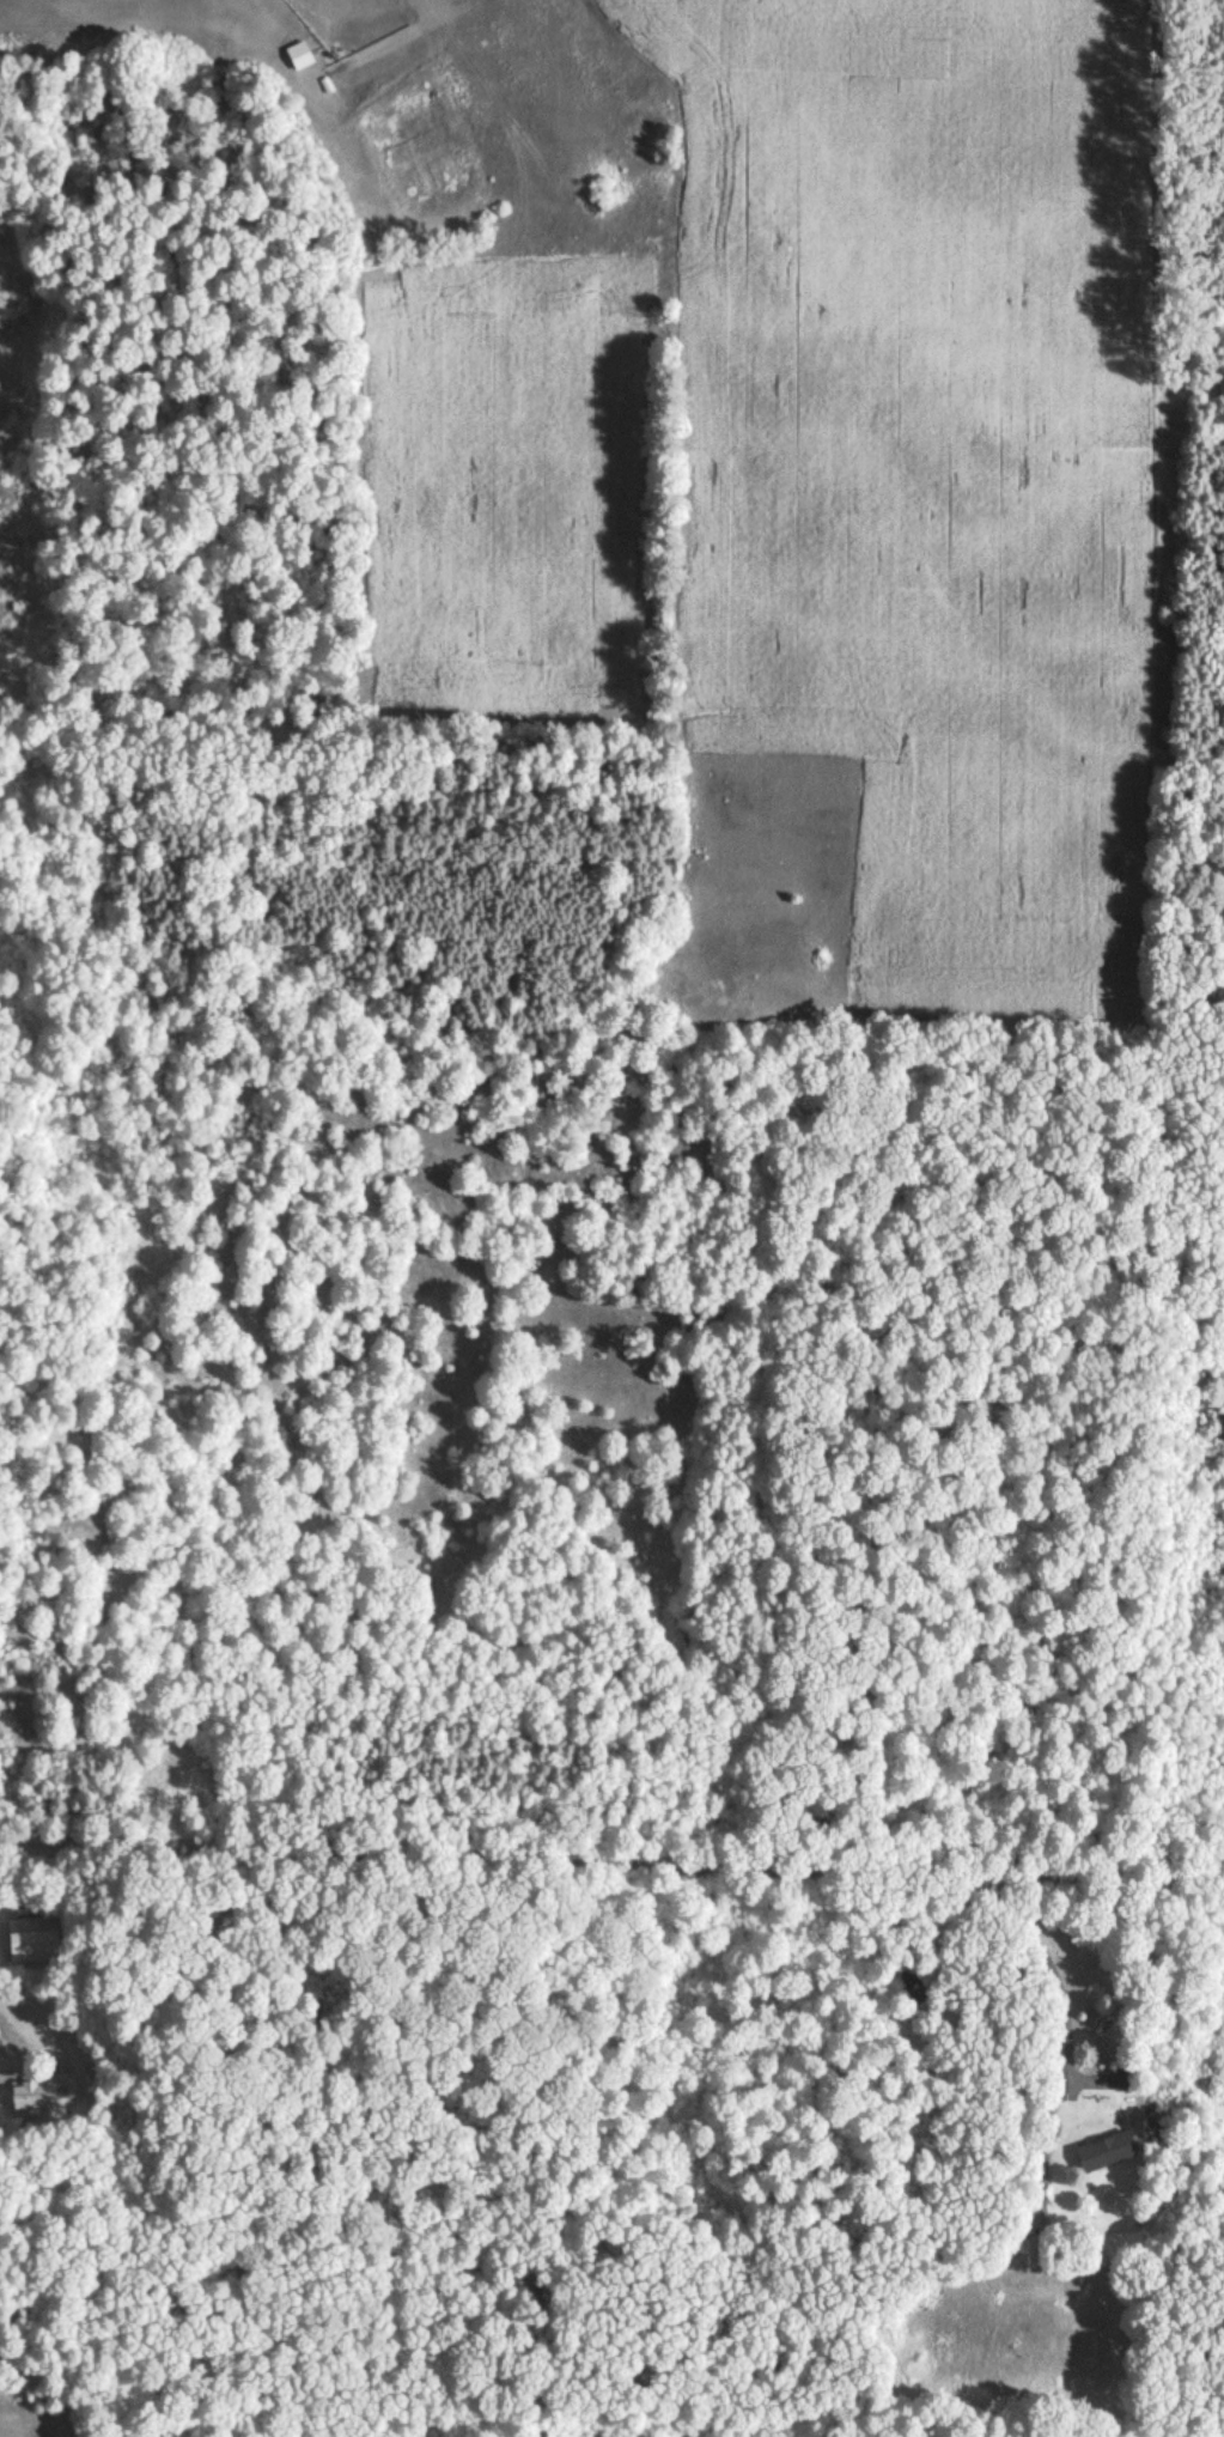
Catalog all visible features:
building: (297, 55)
road: (611, 1833)
building: (32, 1940)
road: (707, 2032)
building: (45, 2093)
building: (1102, 2152)

